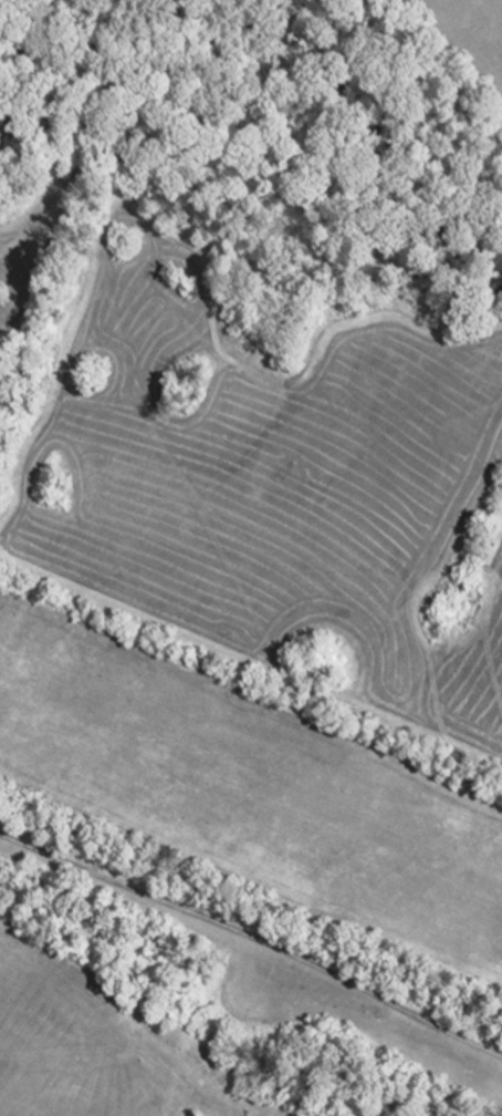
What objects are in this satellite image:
crop: (14, 271)
road: (254, 938)

